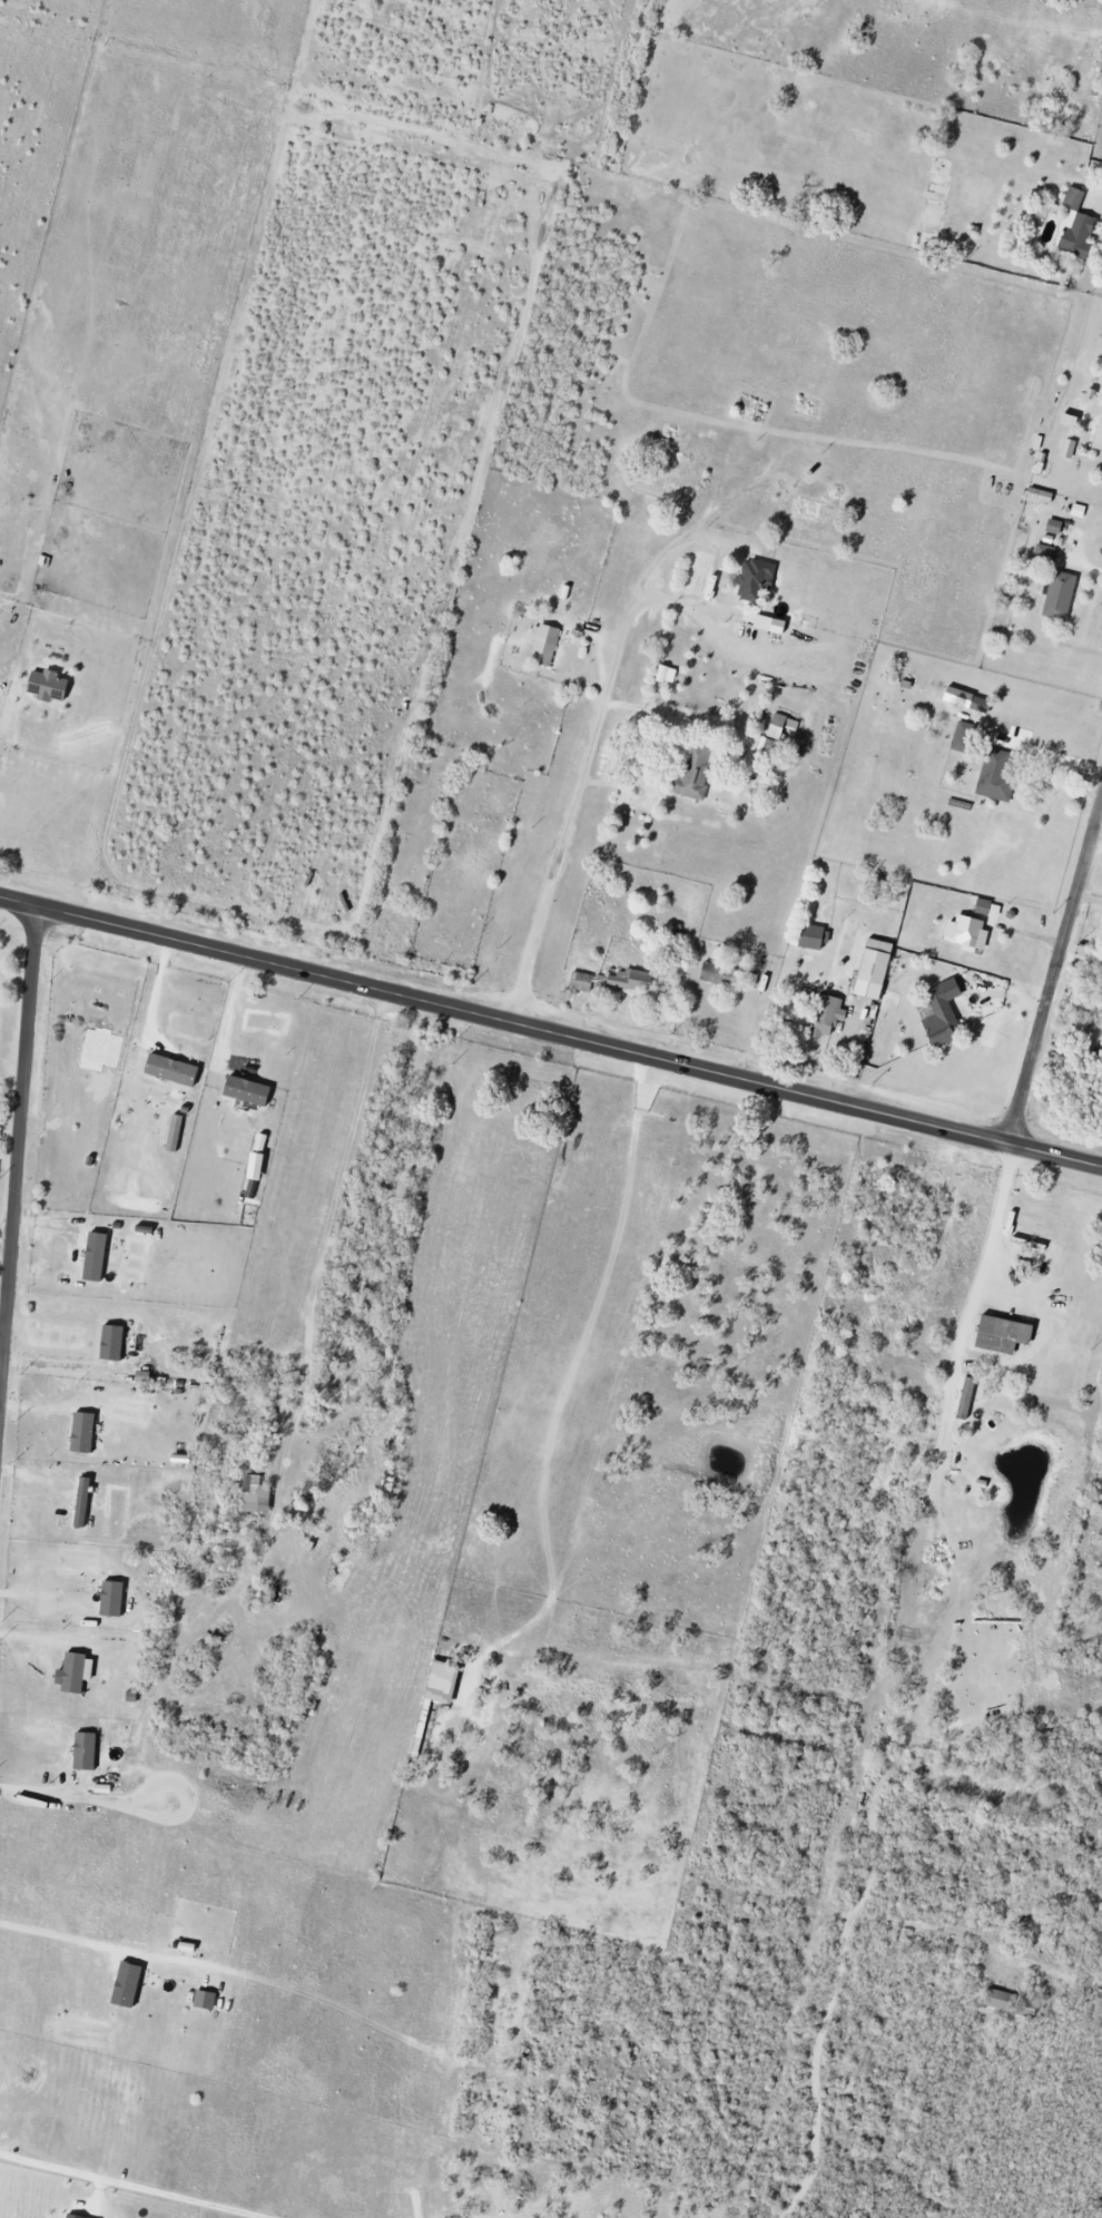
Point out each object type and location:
building: (1089, 116)
road: (1098, 200)
building: (1098, 436)
building: (1069, 449)
building: (1041, 497)
building: (1055, 528)
building: (757, 579)
road: (706, 595)
building: (770, 625)
building: (543, 645)
building: (668, 675)
building: (48, 686)
building: (981, 706)
road: (596, 725)
building: (783, 726)
building: (962, 737)
building: (696, 774)
building: (998, 784)
building: (988, 909)
building: (968, 933)
building: (813, 938)
building: (875, 970)
road: (1055, 974)
building: (718, 975)
building: (632, 981)
building: (582, 982)
building: (1100, 992)
road: (230, 1011)
building: (944, 1015)
building: (827, 1017)
road: (550, 1034)
building: (173, 1070)
building: (249, 1091)
road: (18, 1158)
road: (993, 1226)
road: (6, 1248)
building: (96, 1257)
building: (1004, 1335)
building: (114, 1344)
road: (150, 1344)
building: (83, 1434)
building: (256, 1495)
building: (83, 1500)
building: (112, 1600)
building: (76, 1674)
building: (443, 1682)
building: (86, 1753)
road: (47, 1789)
road: (105, 1947)
building: (128, 1985)
building: (206, 2000)
building: (1000, 2001)
road: (138, 2185)
building: (70, 2216)

